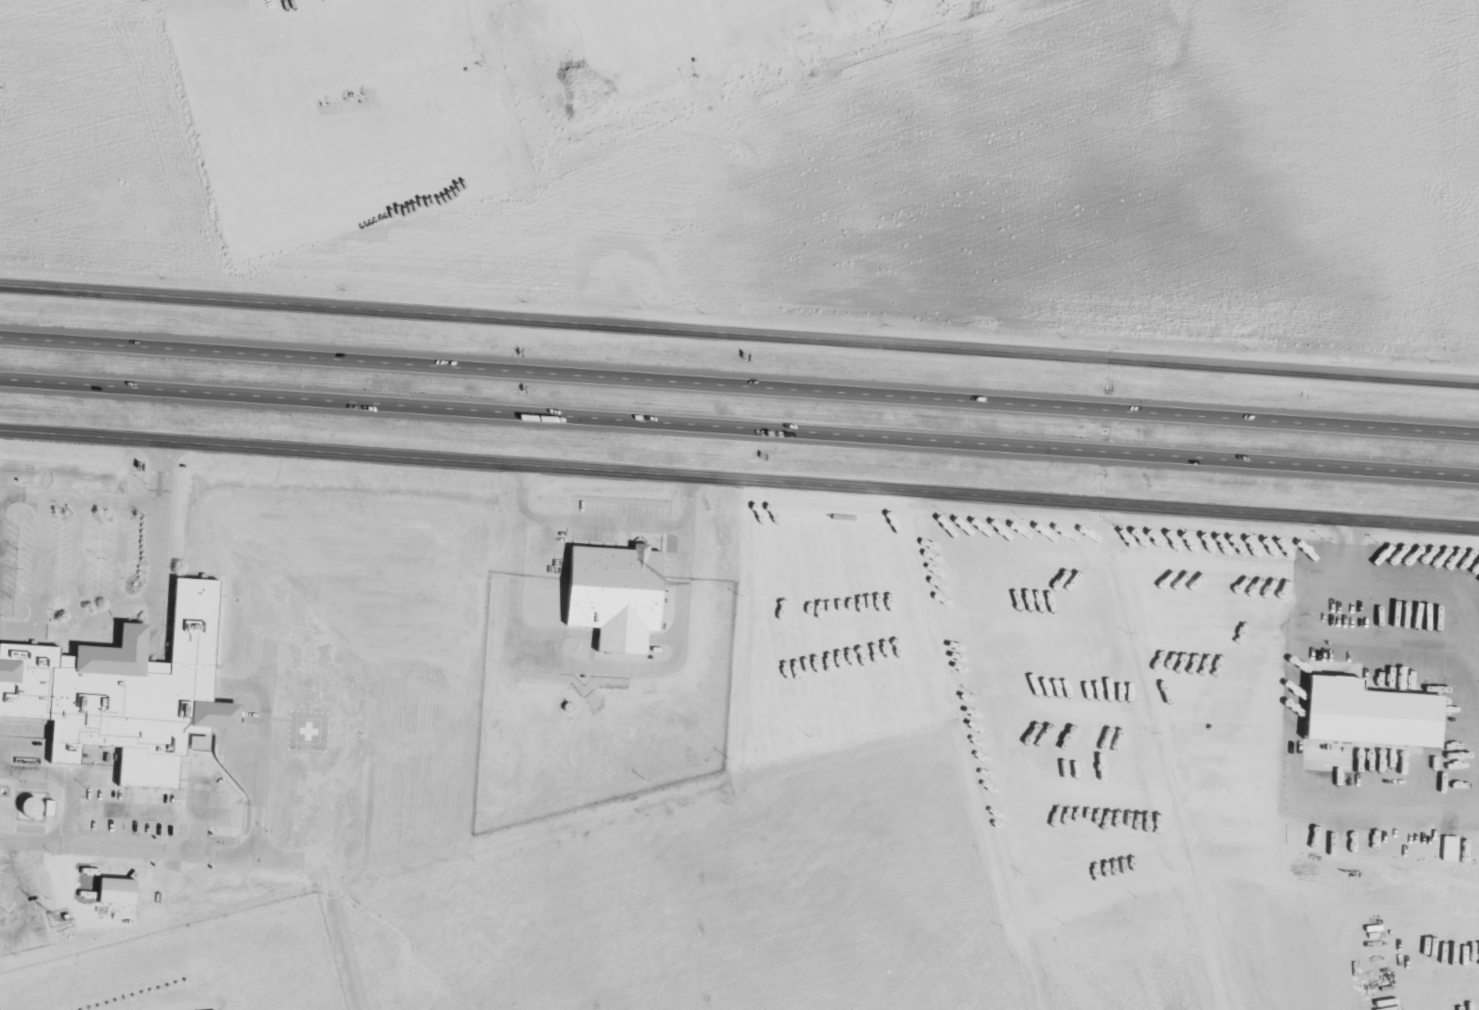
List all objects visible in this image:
power tower: (0, 88)
road: (1394, 187)
road: (1448, 224)
road: (740, 324)
road: (739, 385)
road: (739, 426)
road: (152, 472)
road: (169, 473)
road: (739, 476)
road: (78, 500)
road: (1345, 545)
road: (119, 557)
road: (81, 565)
road: (39, 566)
road: (1452, 601)
road: (120, 611)
road: (1139, 637)
helipad: (308, 728)
road: (1279, 765)
road: (69, 805)
road: (22, 898)

